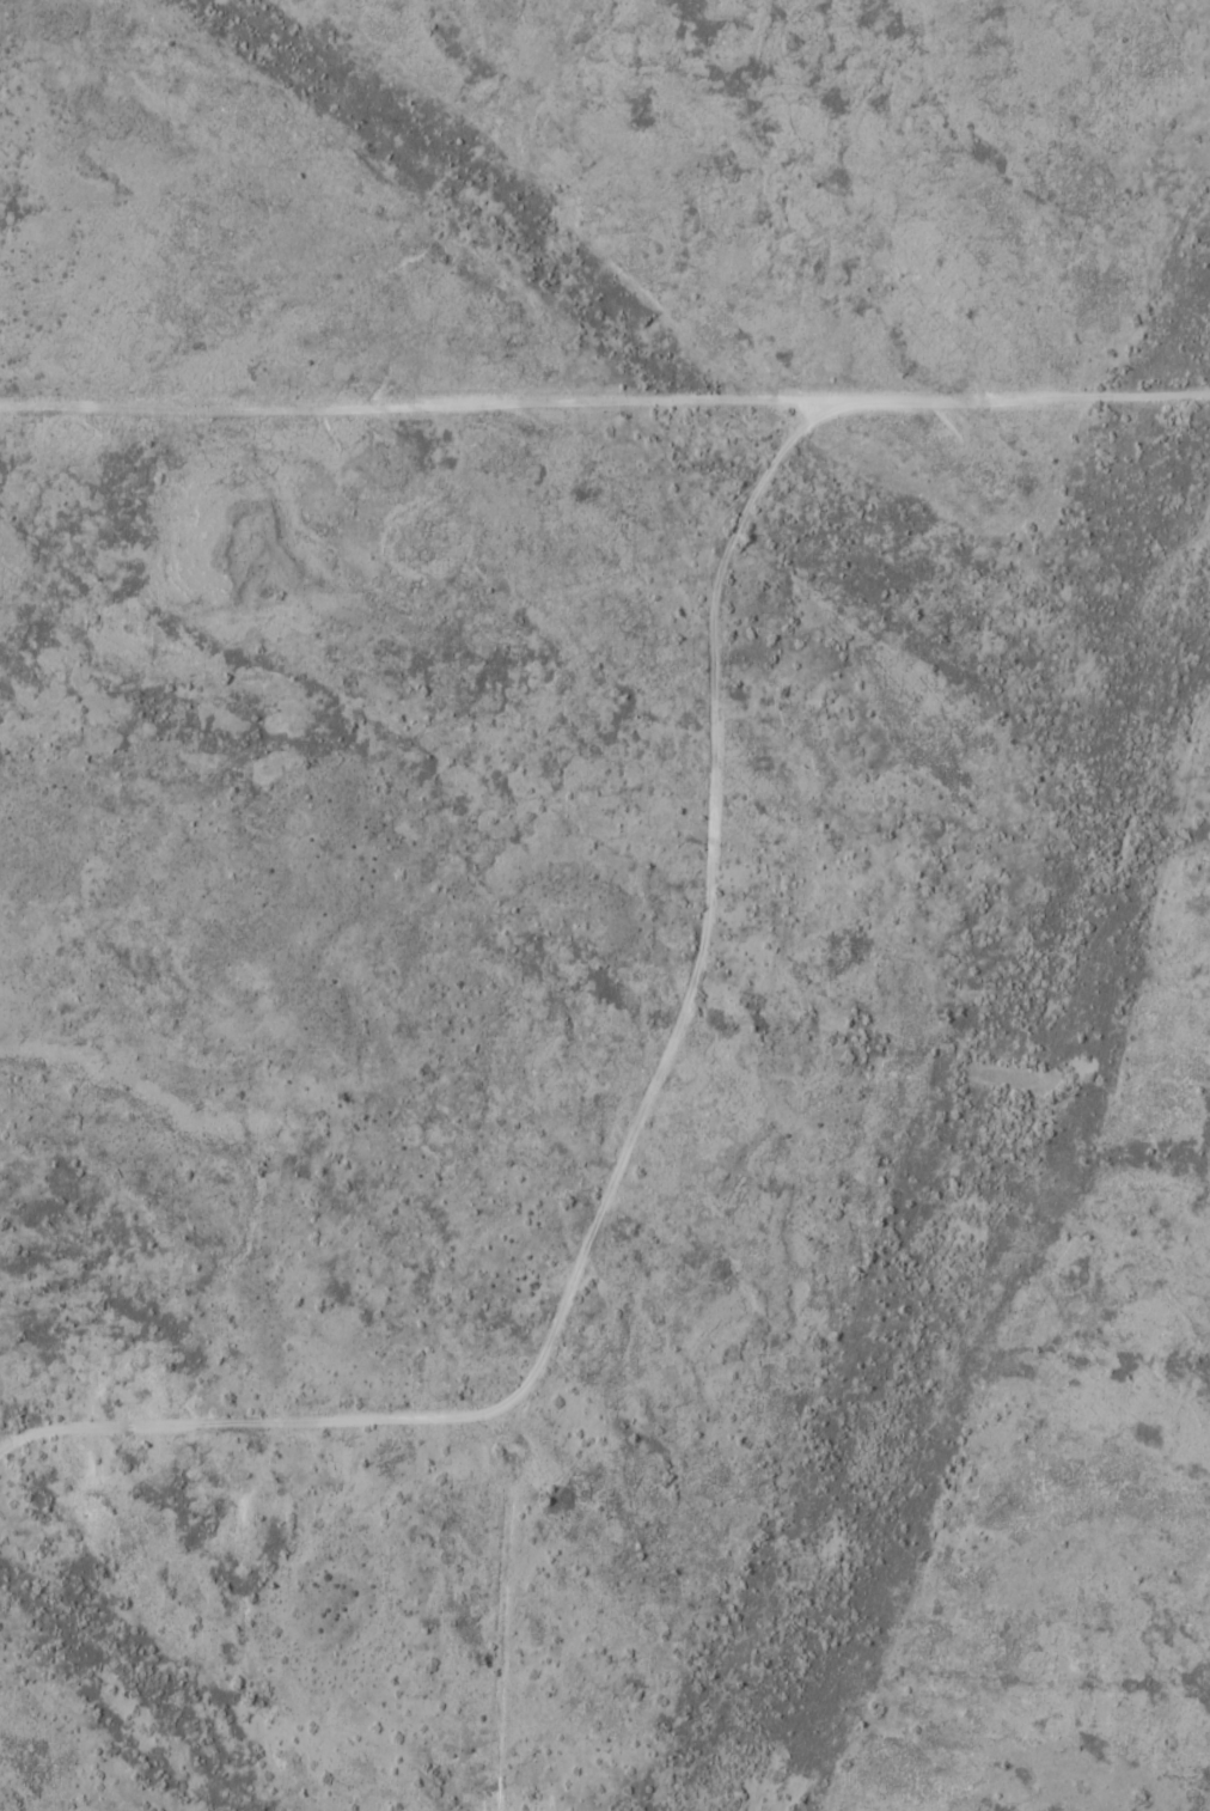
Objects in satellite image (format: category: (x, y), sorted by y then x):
road: (605, 395)
road: (618, 1166)
road: (133, 1425)
road: (1, 1438)

